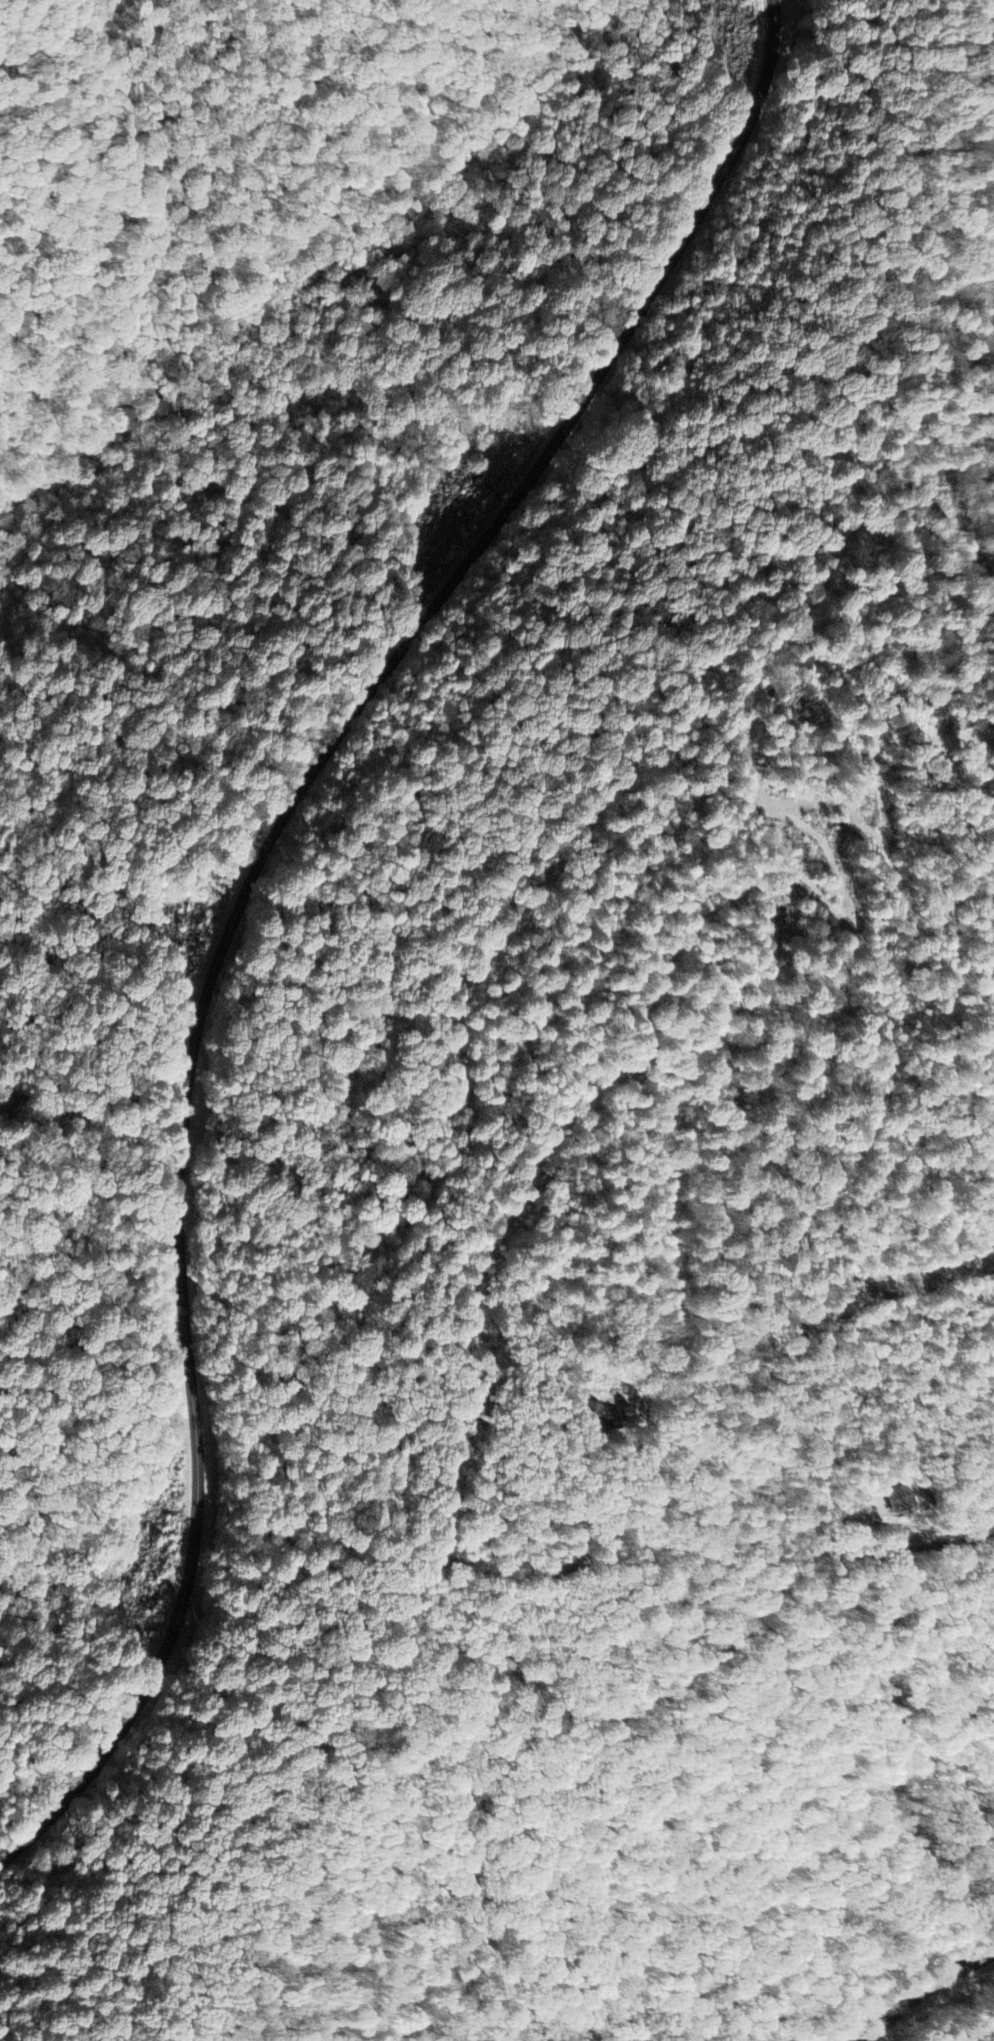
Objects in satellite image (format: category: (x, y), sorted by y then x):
road: (247, 891)
road: (390, 1082)
building: (902, 1501)
road: (511, 1577)
road: (924, 1992)

